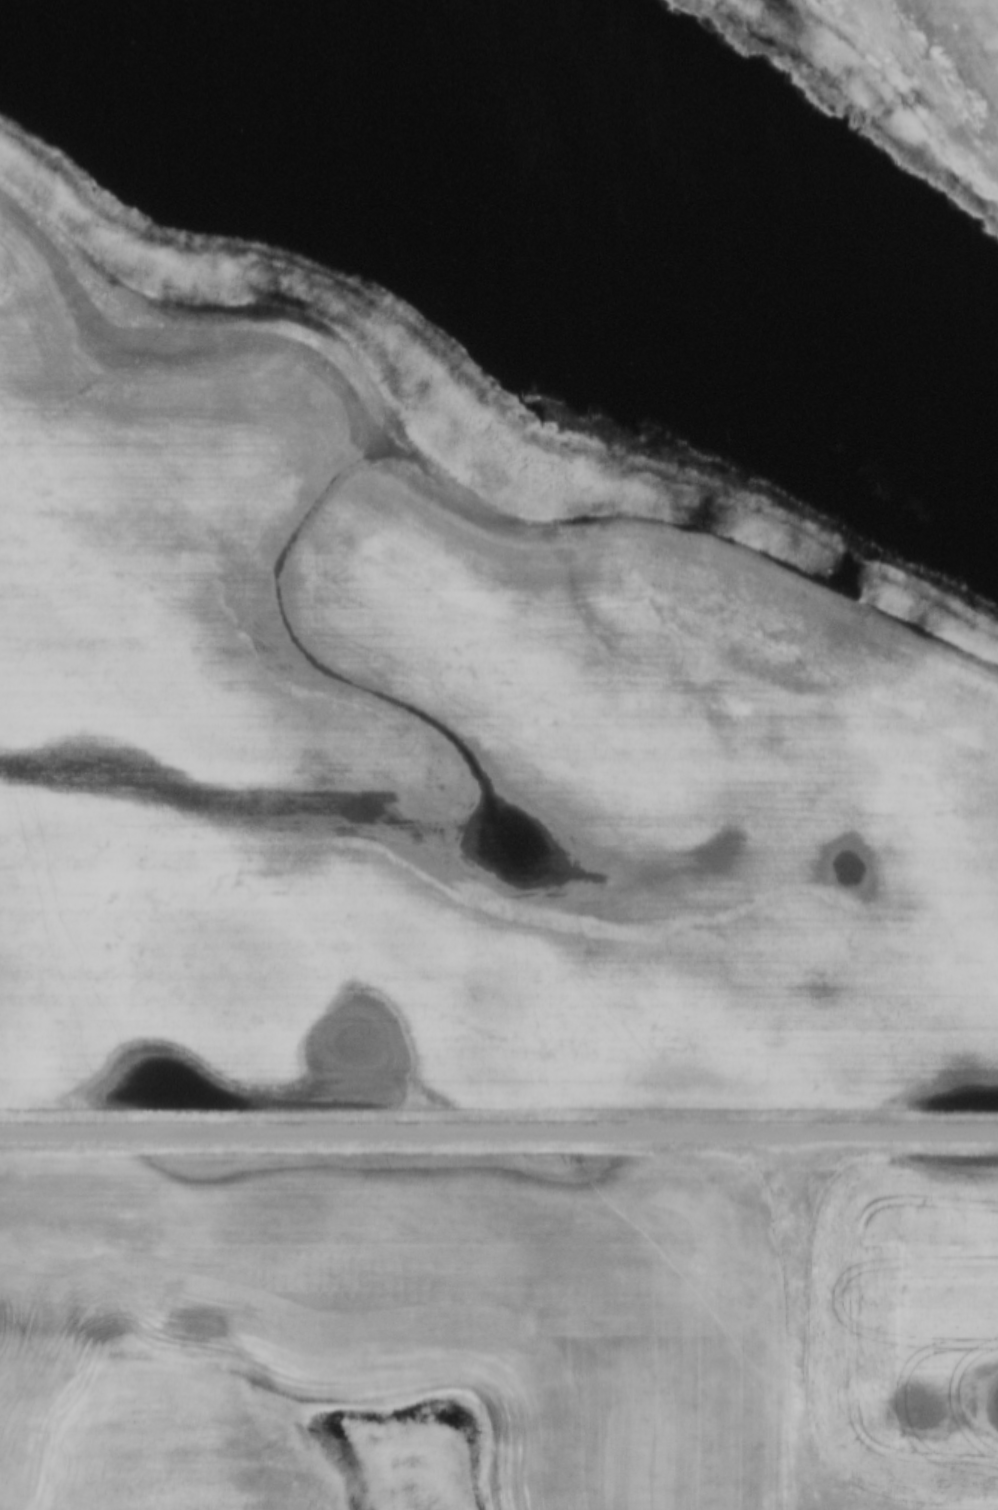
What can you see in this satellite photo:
road: (499, 1134)

